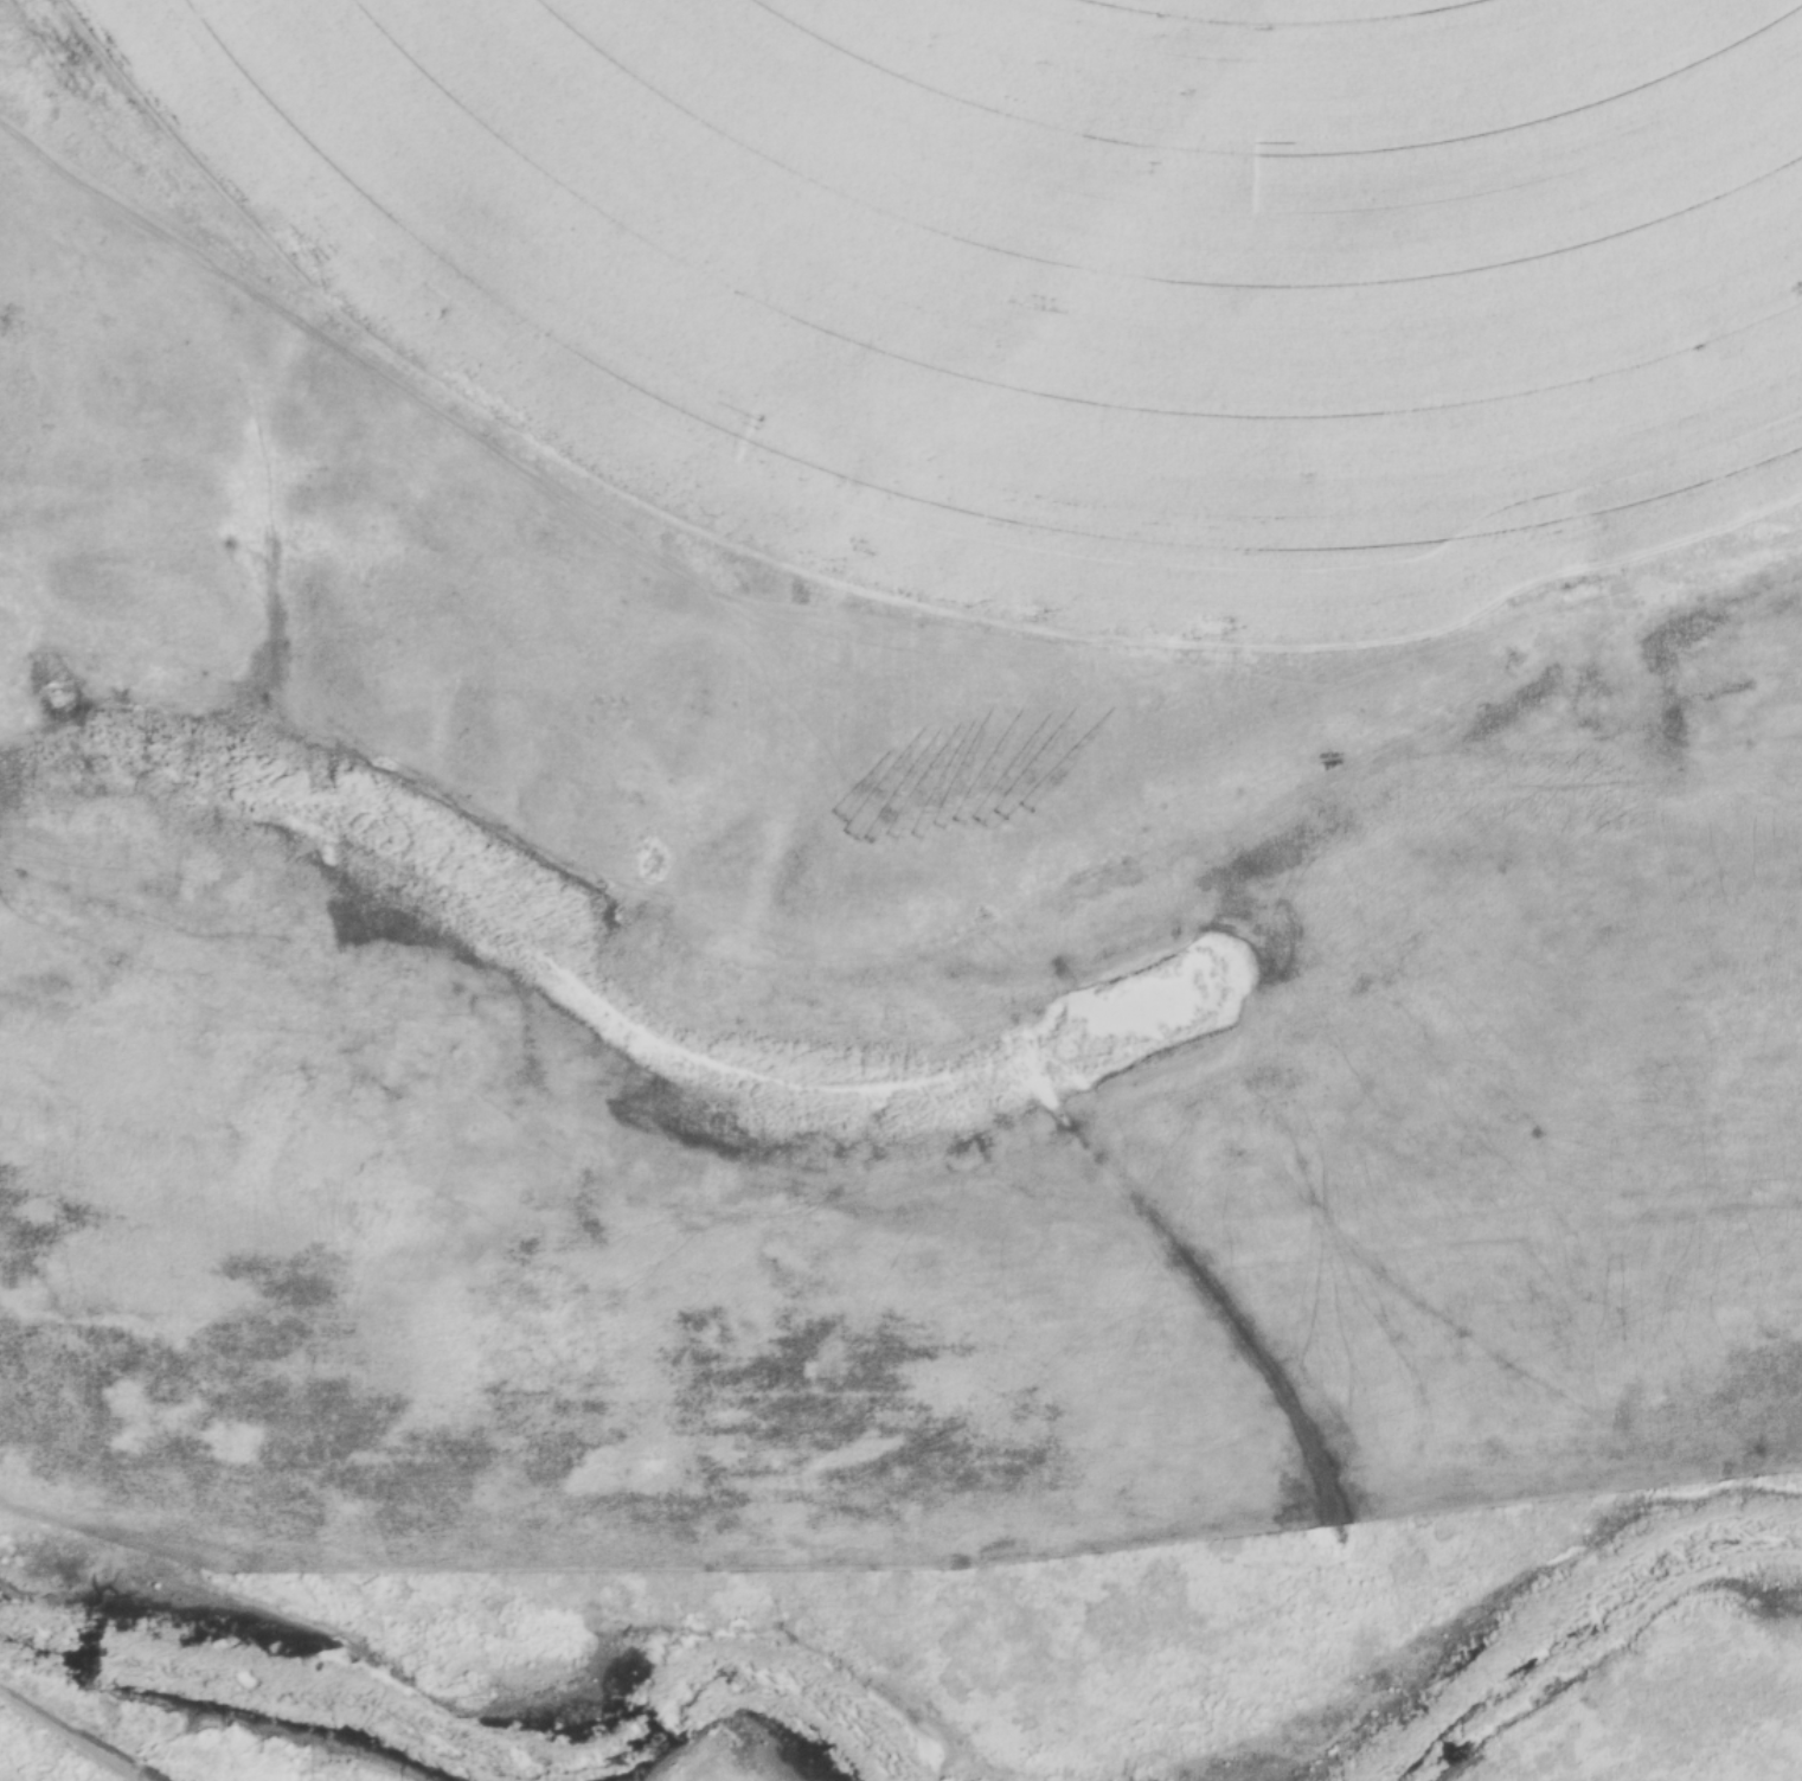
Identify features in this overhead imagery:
road: (70, 1735)

